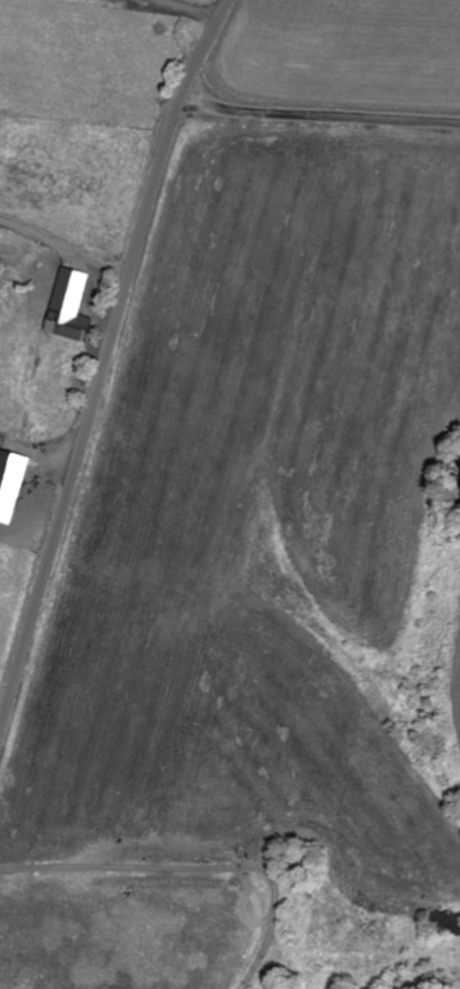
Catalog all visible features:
road: (318, 119)
building: (71, 323)
road: (104, 360)
road: (130, 910)
building: (446, 925)

